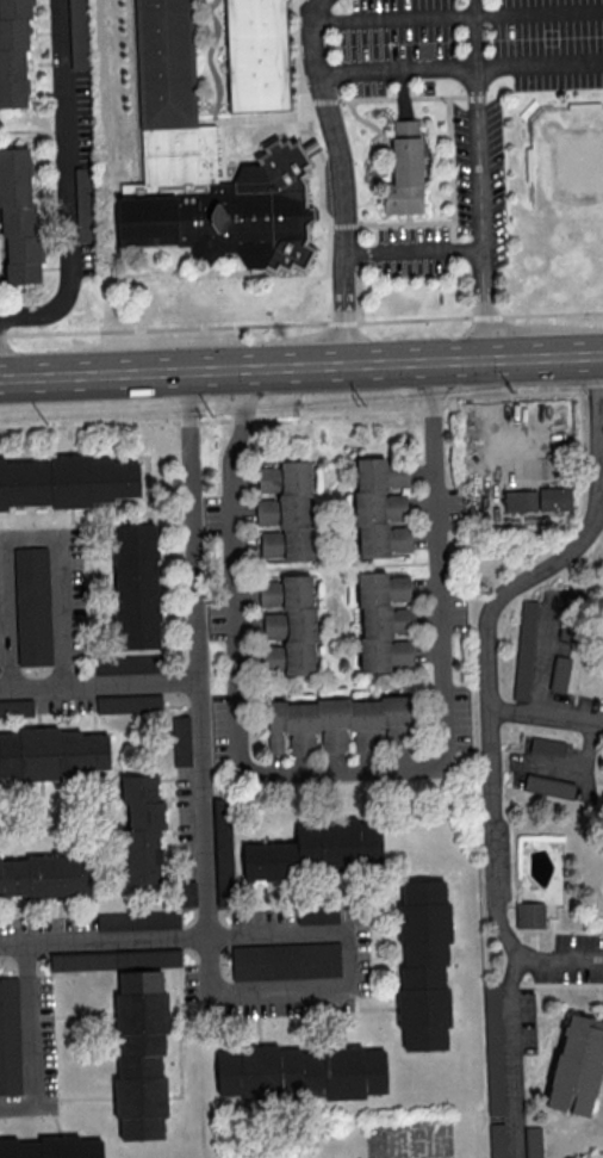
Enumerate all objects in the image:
road: (459, 16)
building: (77, 35)
road: (472, 35)
road: (315, 36)
building: (13, 52)
building: (259, 55)
building: (166, 64)
road: (539, 68)
road: (396, 74)
building: (406, 173)
road: (67, 180)
building: (205, 202)
building: (85, 204)
park: (579, 205)
building: (18, 213)
road: (480, 216)
road: (343, 219)
road: (414, 252)
road: (327, 264)
road: (301, 324)
road: (300, 367)
road: (12, 370)
road: (596, 414)
road: (305, 417)
road: (68, 440)
road: (133, 459)
building: (131, 477)
building: (118, 478)
building: (69, 481)
building: (13, 483)
building: (554, 497)
building: (520, 500)
road: (148, 507)
building: (380, 508)
building: (285, 510)
road: (170, 516)
road: (72, 518)
road: (30, 537)
road: (174, 552)
building: (133, 553)
road: (98, 556)
parking lot: (66, 588)
building: (31, 605)
parking lot: (31, 605)
building: (136, 615)
road: (176, 615)
road: (100, 619)
building: (384, 620)
building: (287, 624)
building: (524, 649)
road: (198, 654)
road: (546, 654)
building: (128, 663)
parking lot: (128, 663)
building: (559, 673)
road: (99, 682)
building: (129, 702)
parking lot: (129, 702)
parking lot: (64, 705)
road: (37, 706)
road: (93, 706)
building: (15, 707)
parking lot: (15, 707)
road: (489, 707)
road: (546, 716)
building: (334, 723)
road: (101, 729)
road: (87, 730)
building: (181, 739)
parking lot: (181, 739)
building: (546, 745)
building: (88, 751)
building: (101, 751)
building: (41, 754)
road: (343, 772)
road: (179, 778)
building: (138, 780)
building: (548, 785)
building: (138, 794)
road: (180, 797)
road: (168, 803)
building: (145, 807)
building: (145, 822)
parking lot: (185, 822)
road: (169, 824)
road: (181, 830)
building: (141, 835)
building: (338, 844)
building: (142, 849)
road: (181, 850)
building: (223, 850)
parking lot: (223, 850)
road: (164, 857)
building: (291, 859)
building: (263, 860)
building: (276, 860)
building: (249, 861)
building: (142, 862)
building: (60, 873)
building: (23, 875)
building: (8, 877)
building: (142, 877)
road: (182, 877)
building: (0, 879)
road: (267, 883)
road: (275, 884)
road: (341, 888)
road: (293, 890)
road: (250, 892)
building: (187, 893)
parking lot: (187, 893)
road: (272, 897)
road: (8, 899)
road: (24, 899)
building: (317, 914)
parking lot: (317, 914)
building: (530, 916)
road: (61, 918)
building: (137, 918)
parking lot: (137, 918)
road: (15, 921)
parking lot: (46, 923)
building: (424, 923)
road: (383, 925)
road: (104, 940)
building: (114, 960)
parking lot: (114, 960)
building: (285, 960)
parking lot: (285, 960)
parking lot: (354, 961)
road: (559, 961)
road: (349, 987)
building: (423, 1007)
road: (369, 1008)
road: (173, 1011)
building: (141, 1013)
road: (85, 1015)
road: (341, 1028)
road: (257, 1029)
building: (10, 1036)
parking lot: (10, 1036)
road: (178, 1036)
road: (27, 1038)
parking lot: (36, 1046)
building: (492, 1048)
road: (514, 1055)
building: (577, 1064)
building: (259, 1071)
building: (342, 1072)
road: (174, 1095)
building: (139, 1096)
road: (86, 1097)
road: (56, 1122)
building: (531, 1141)
building: (8, 1147)
building: (60, 1147)

